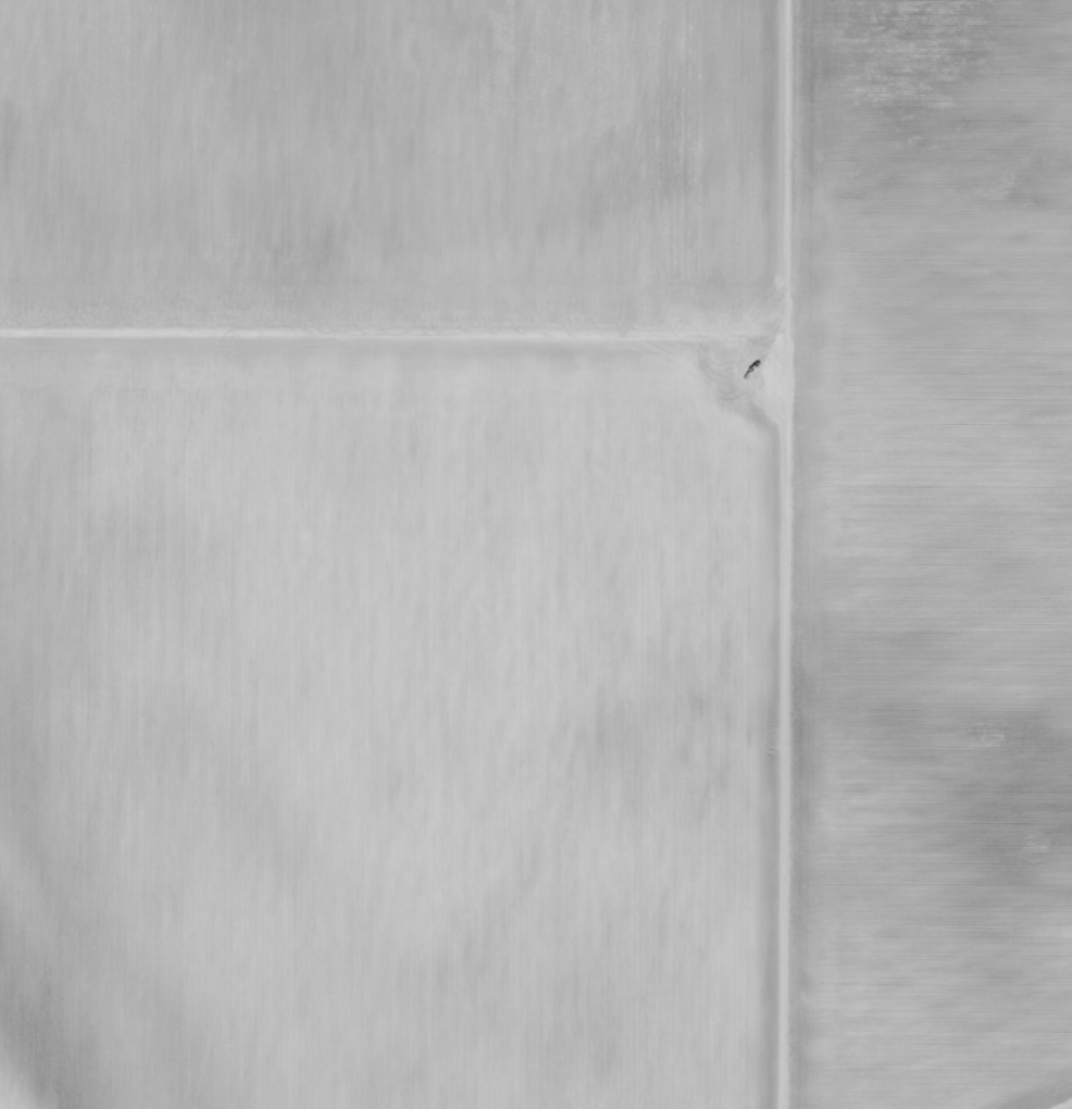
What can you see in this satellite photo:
road: (784, 554)

